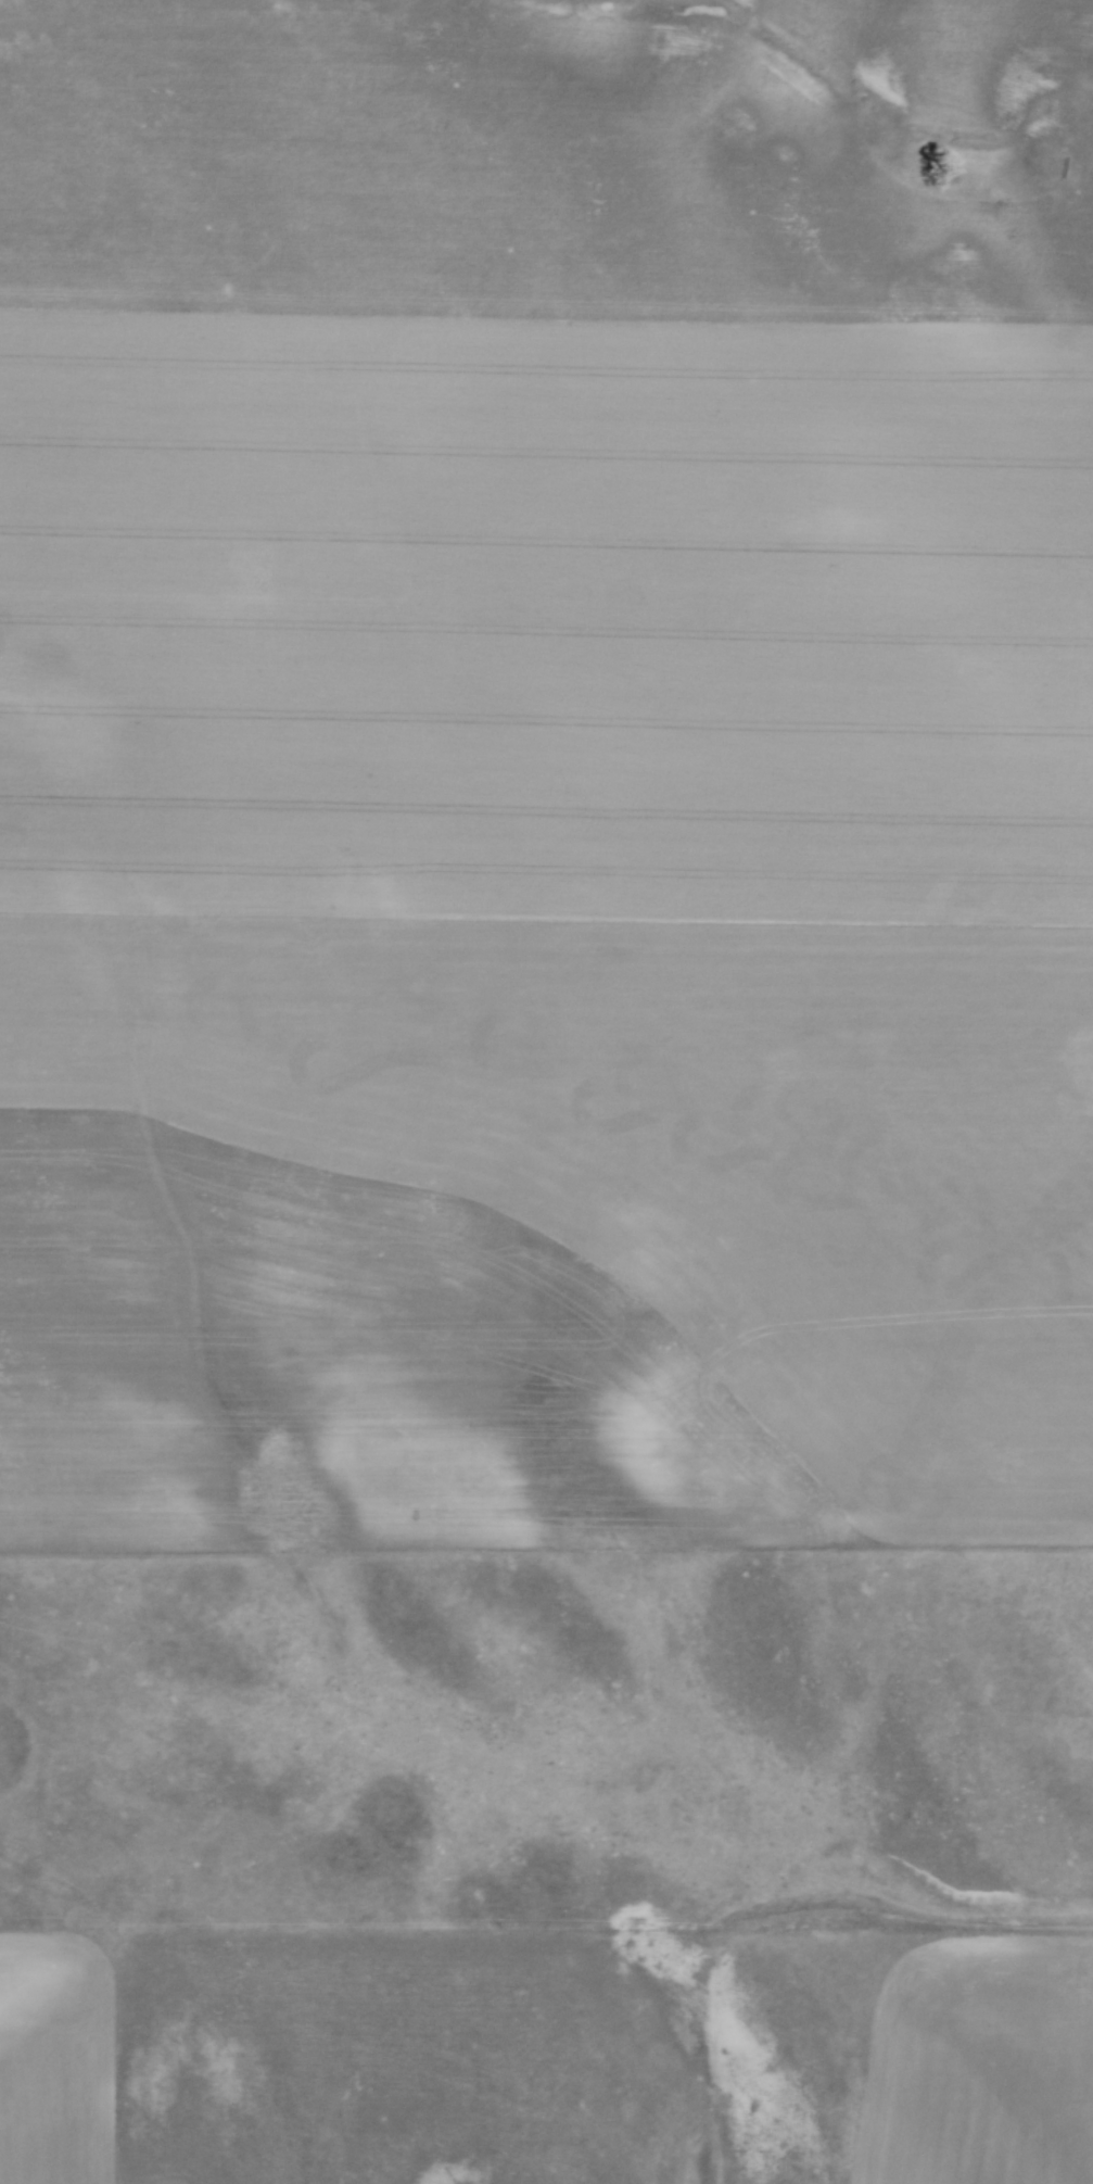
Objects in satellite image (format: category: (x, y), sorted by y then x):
crop: (544, 931)
crop: (330, 2058)
crop: (977, 2061)

